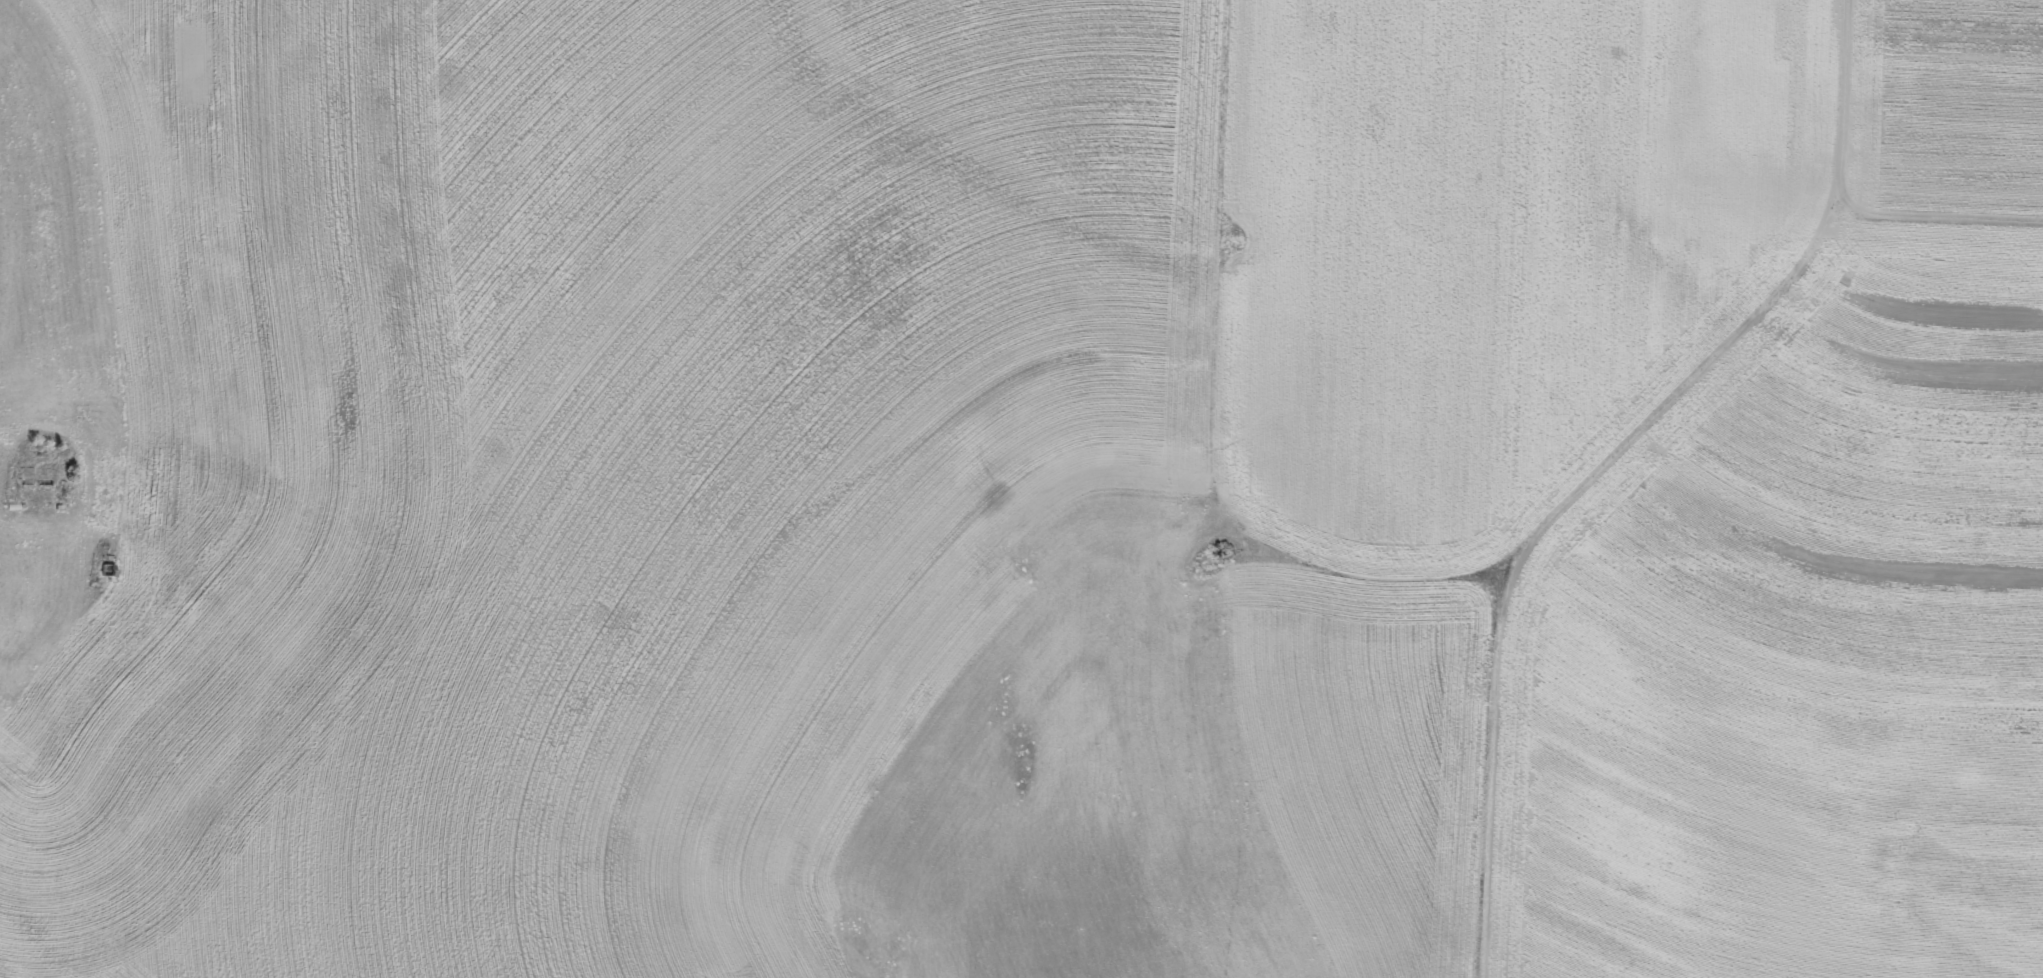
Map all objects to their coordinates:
airport: (1760, 110)
building: (106, 570)

